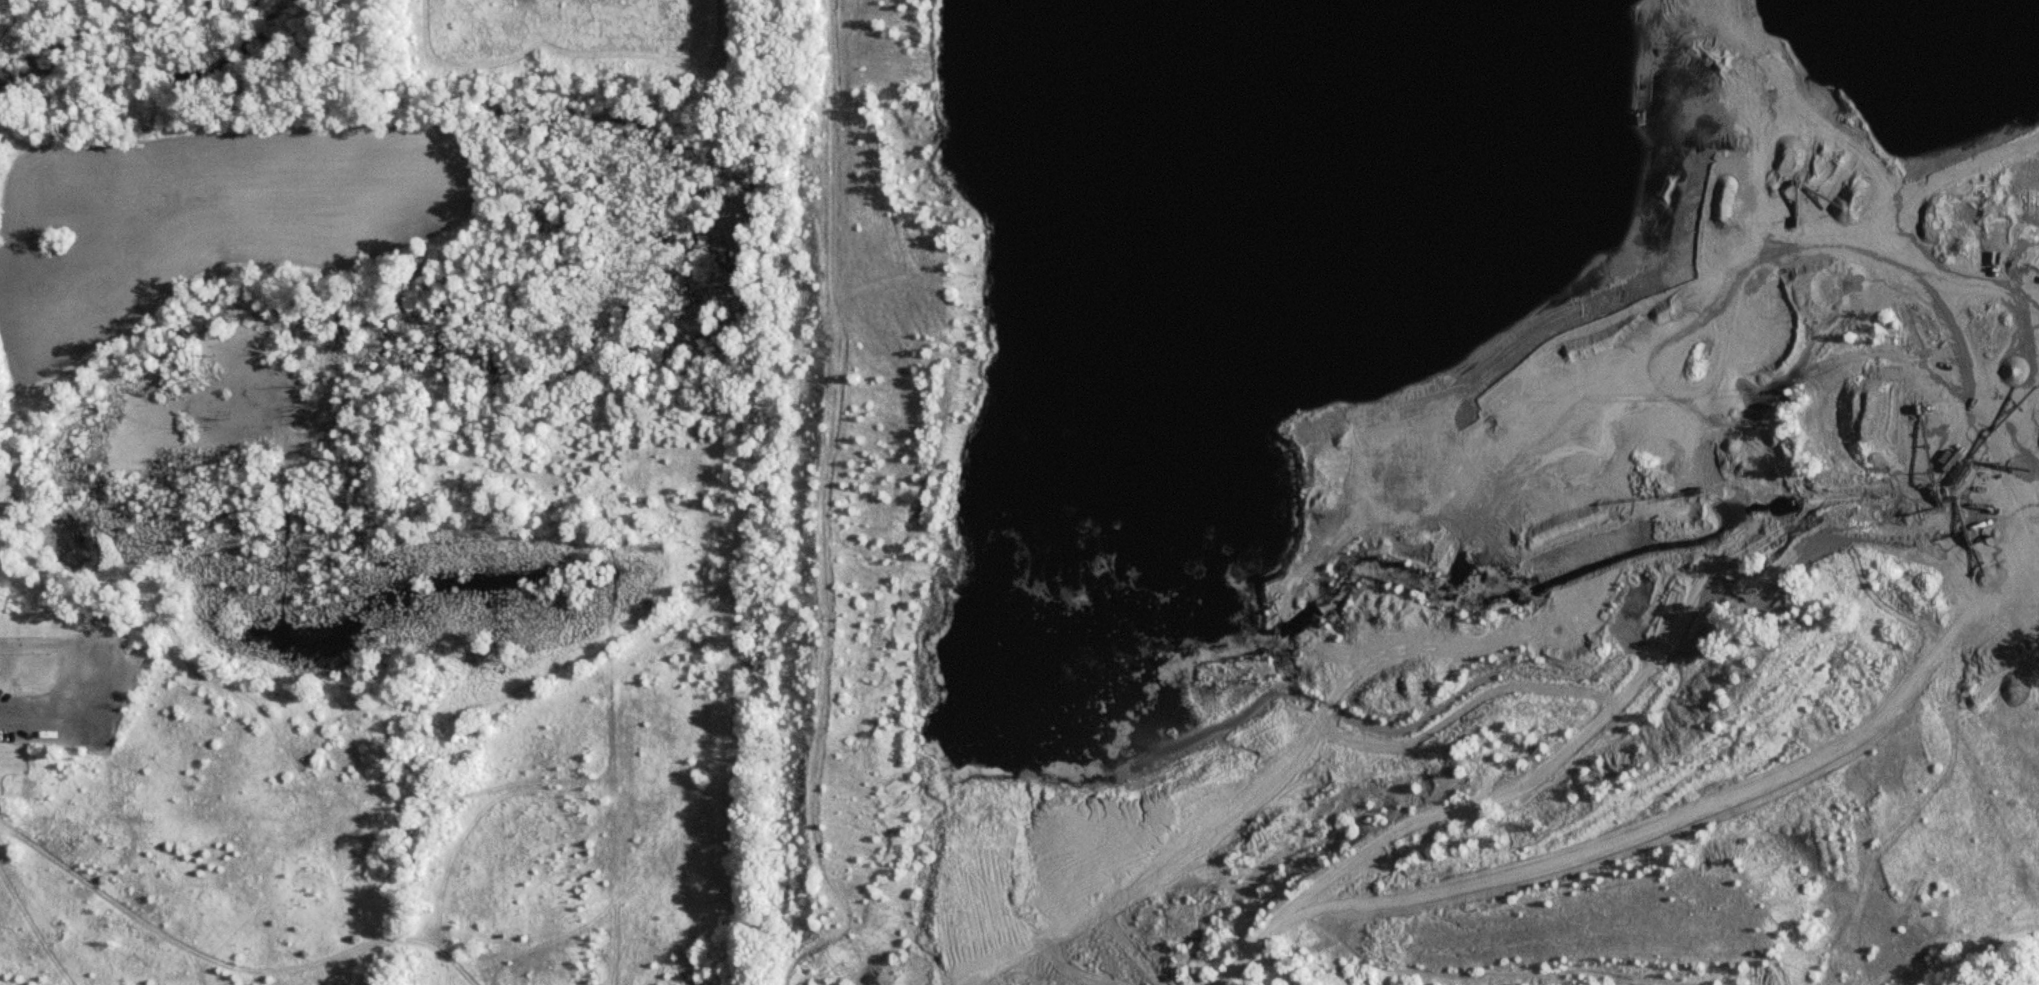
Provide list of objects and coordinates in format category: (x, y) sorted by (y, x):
road: (1974, 361)
quarry: (1414, 493)
building: (9, 645)
road: (63, 715)

